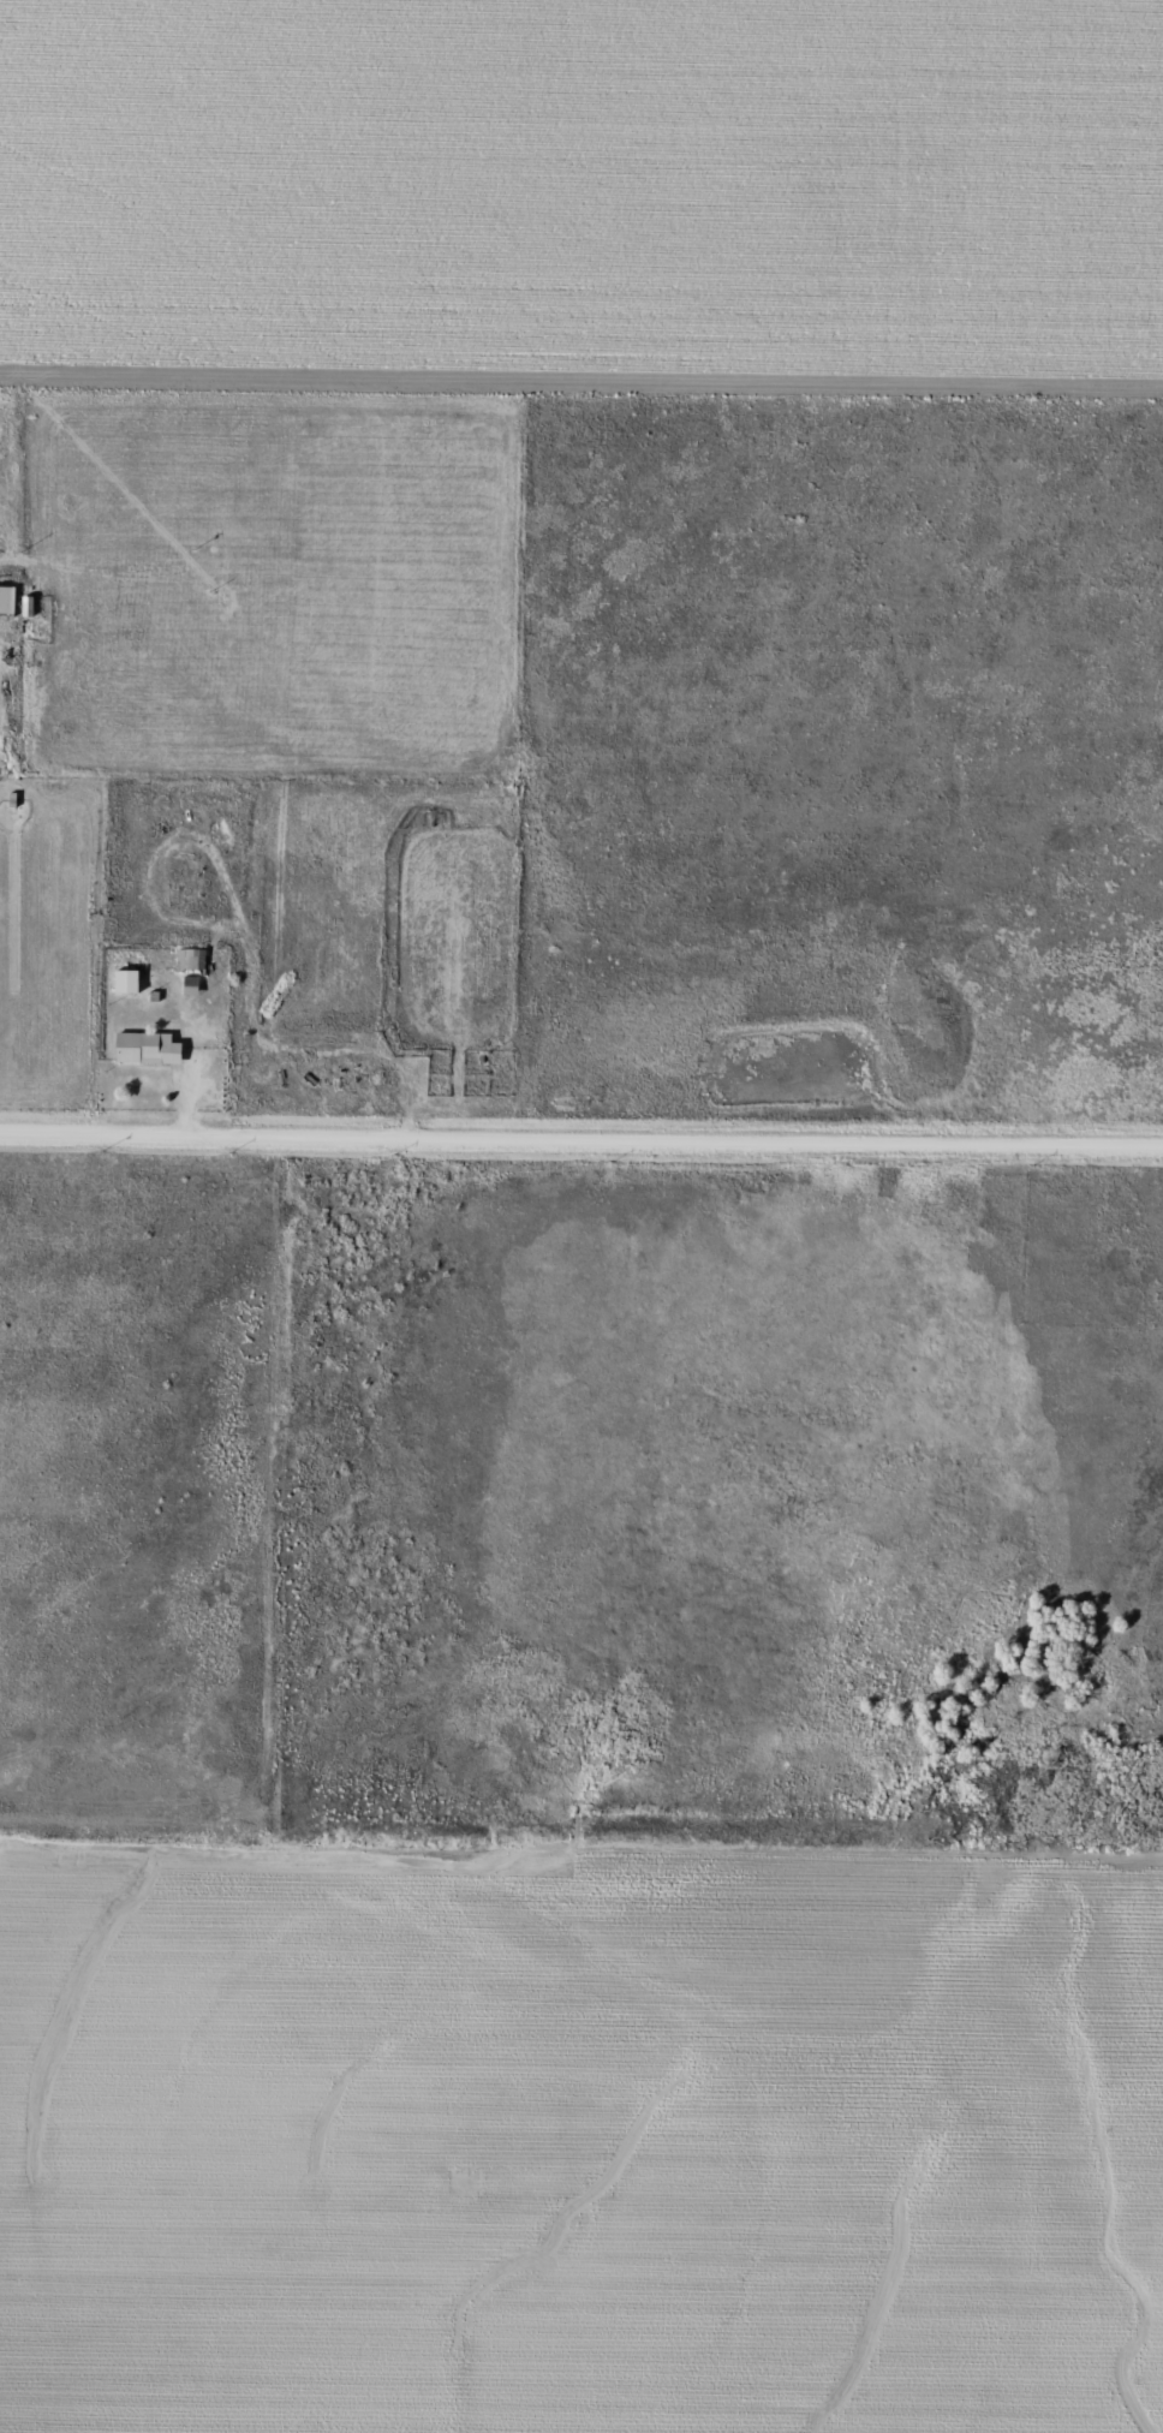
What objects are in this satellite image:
building: (5, 600)
building: (26, 606)
building: (190, 959)
building: (190, 985)
building: (145, 1048)
road: (581, 1135)

